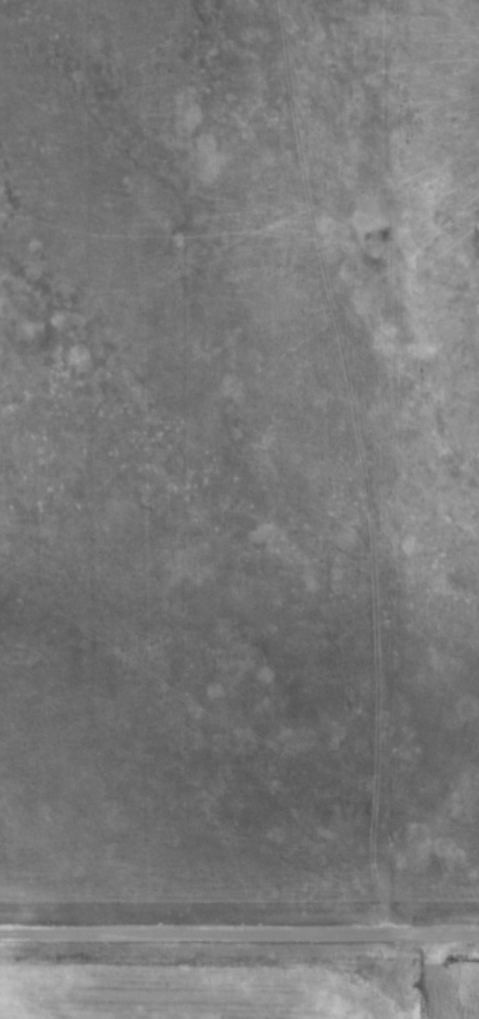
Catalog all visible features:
road: (239, 933)

